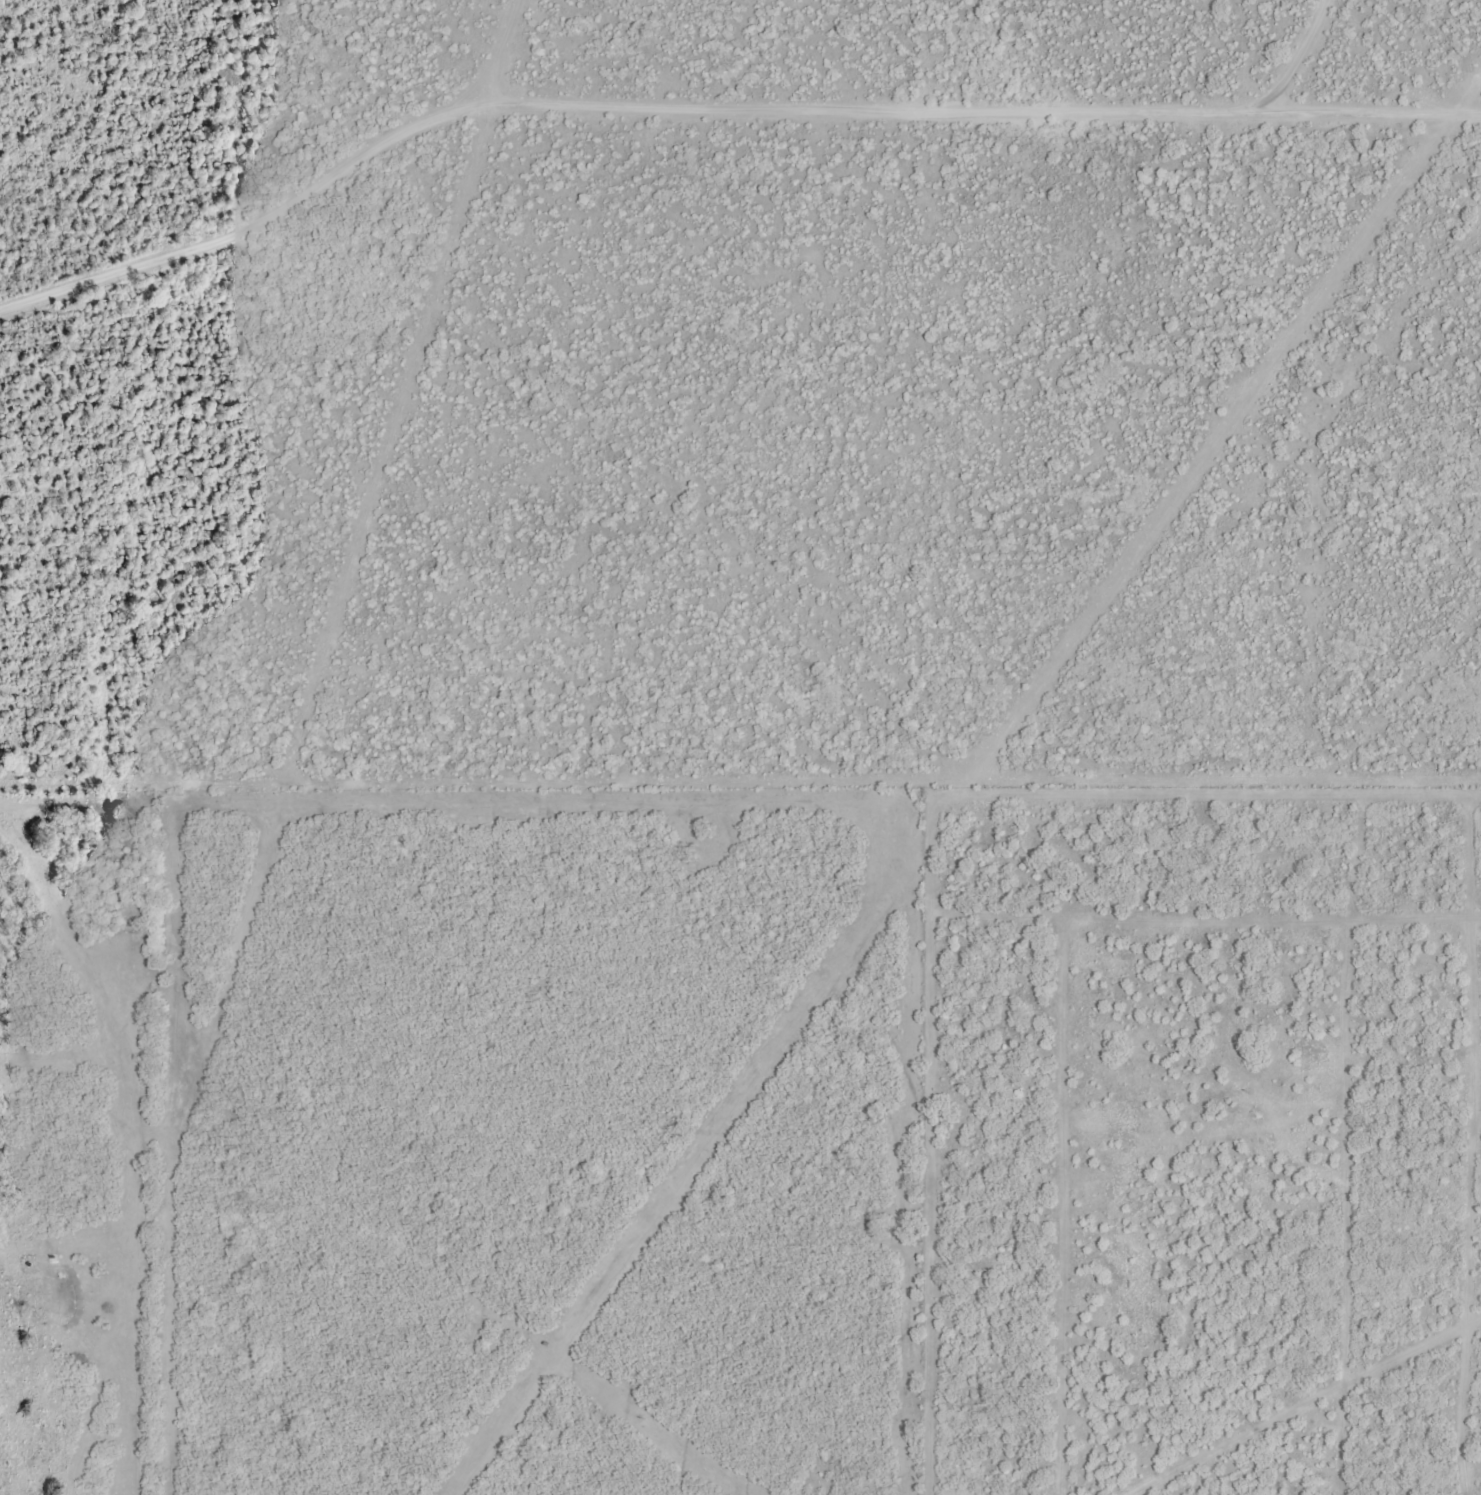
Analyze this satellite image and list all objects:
road: (1297, 52)
road: (613, 101)
road: (1376, 105)

